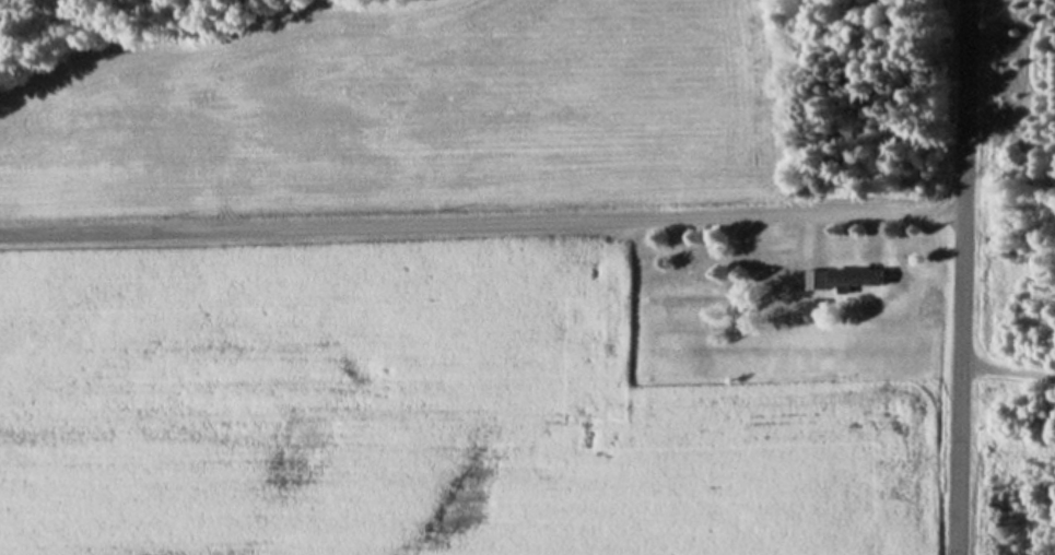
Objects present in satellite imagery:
road: (483, 221)
building: (864, 275)
road: (964, 277)
building: (821, 279)
building: (722, 283)
road: (1009, 368)

